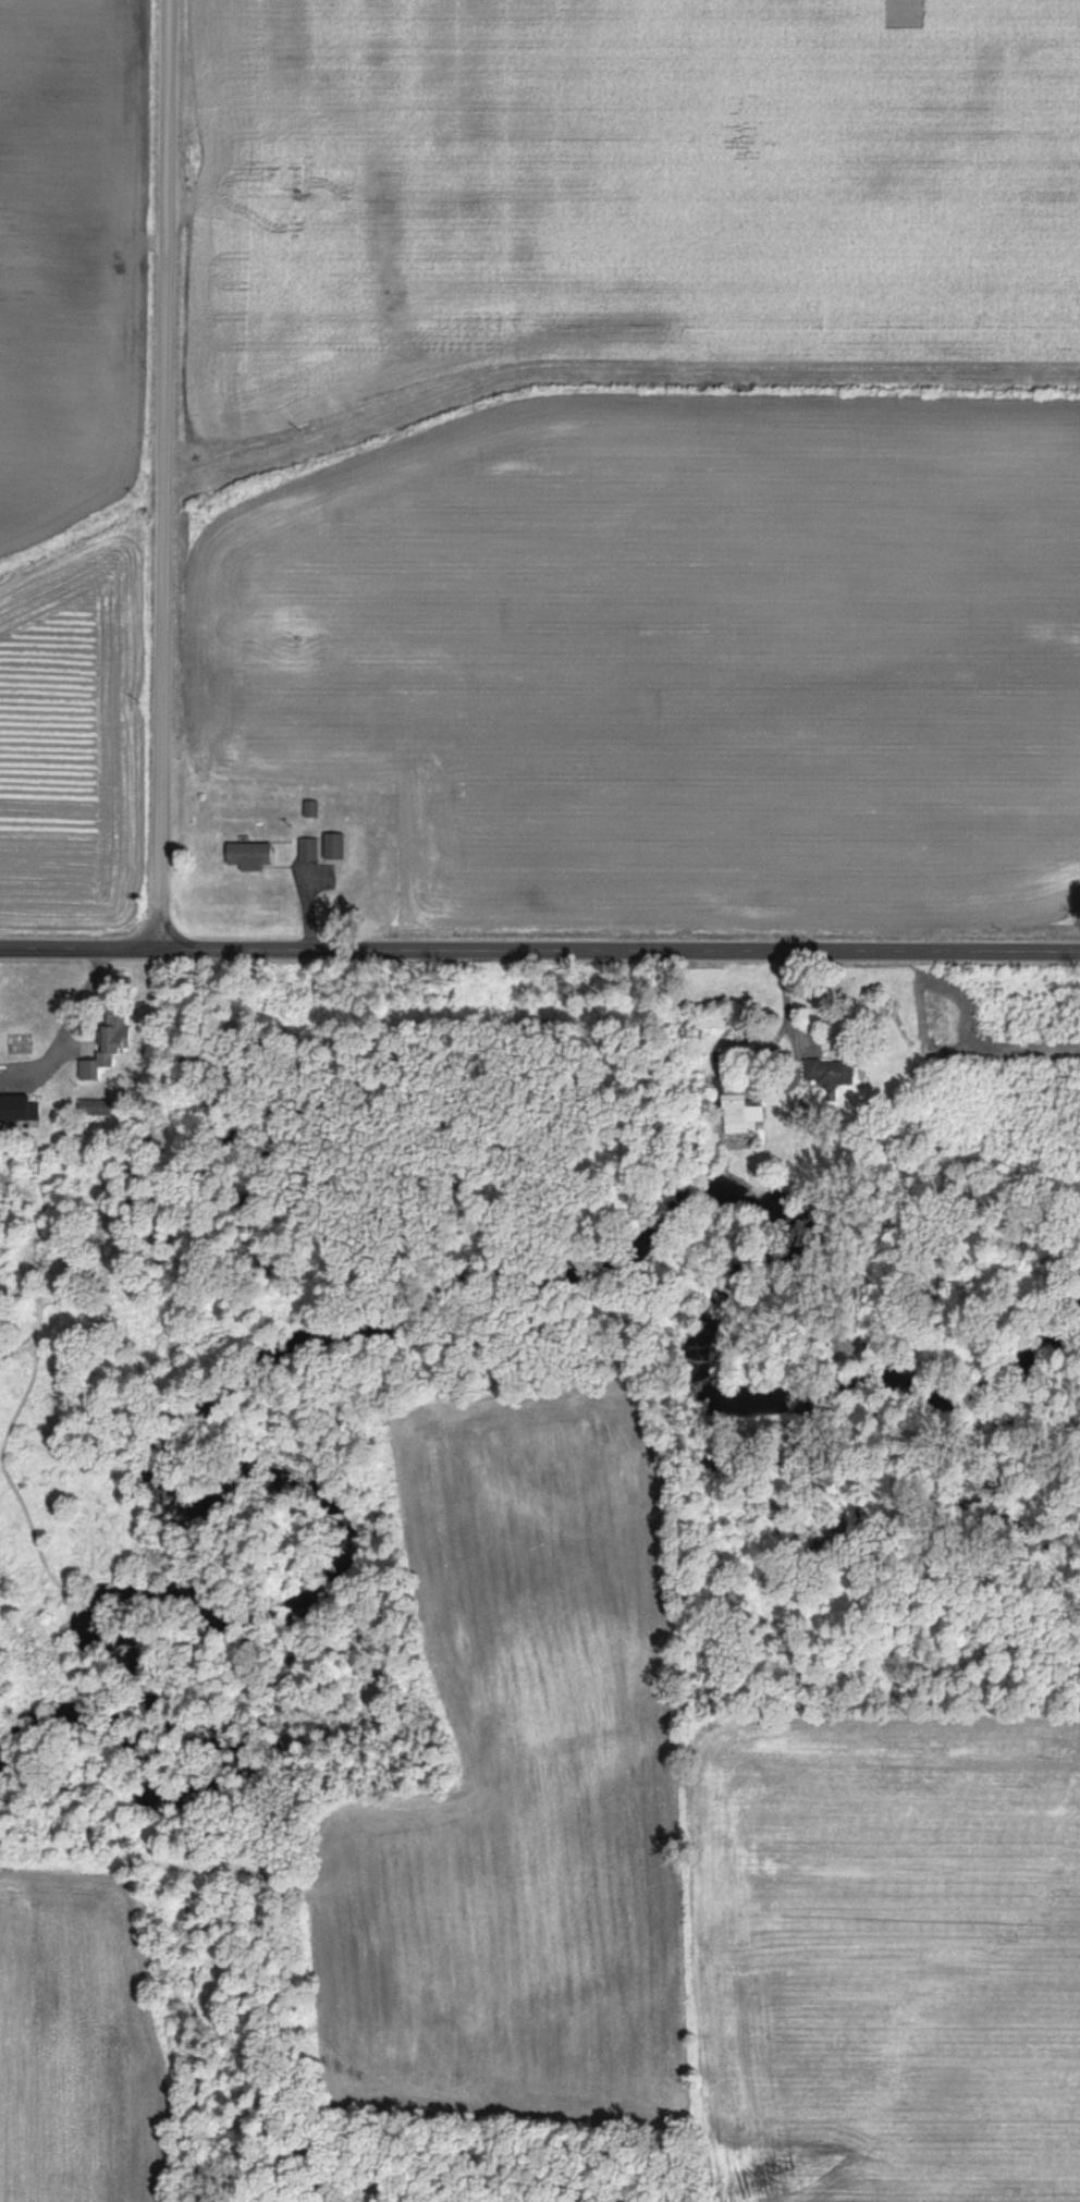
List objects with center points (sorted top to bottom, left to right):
road: (162, 475)
building: (337, 852)
building: (310, 855)
building: (253, 859)
road: (539, 952)
building: (119, 1024)
building: (116, 1057)
building: (838, 1078)
building: (21, 1112)
building: (95, 1112)
building: (742, 1113)
river: (565, 1201)
river: (128, 1717)

